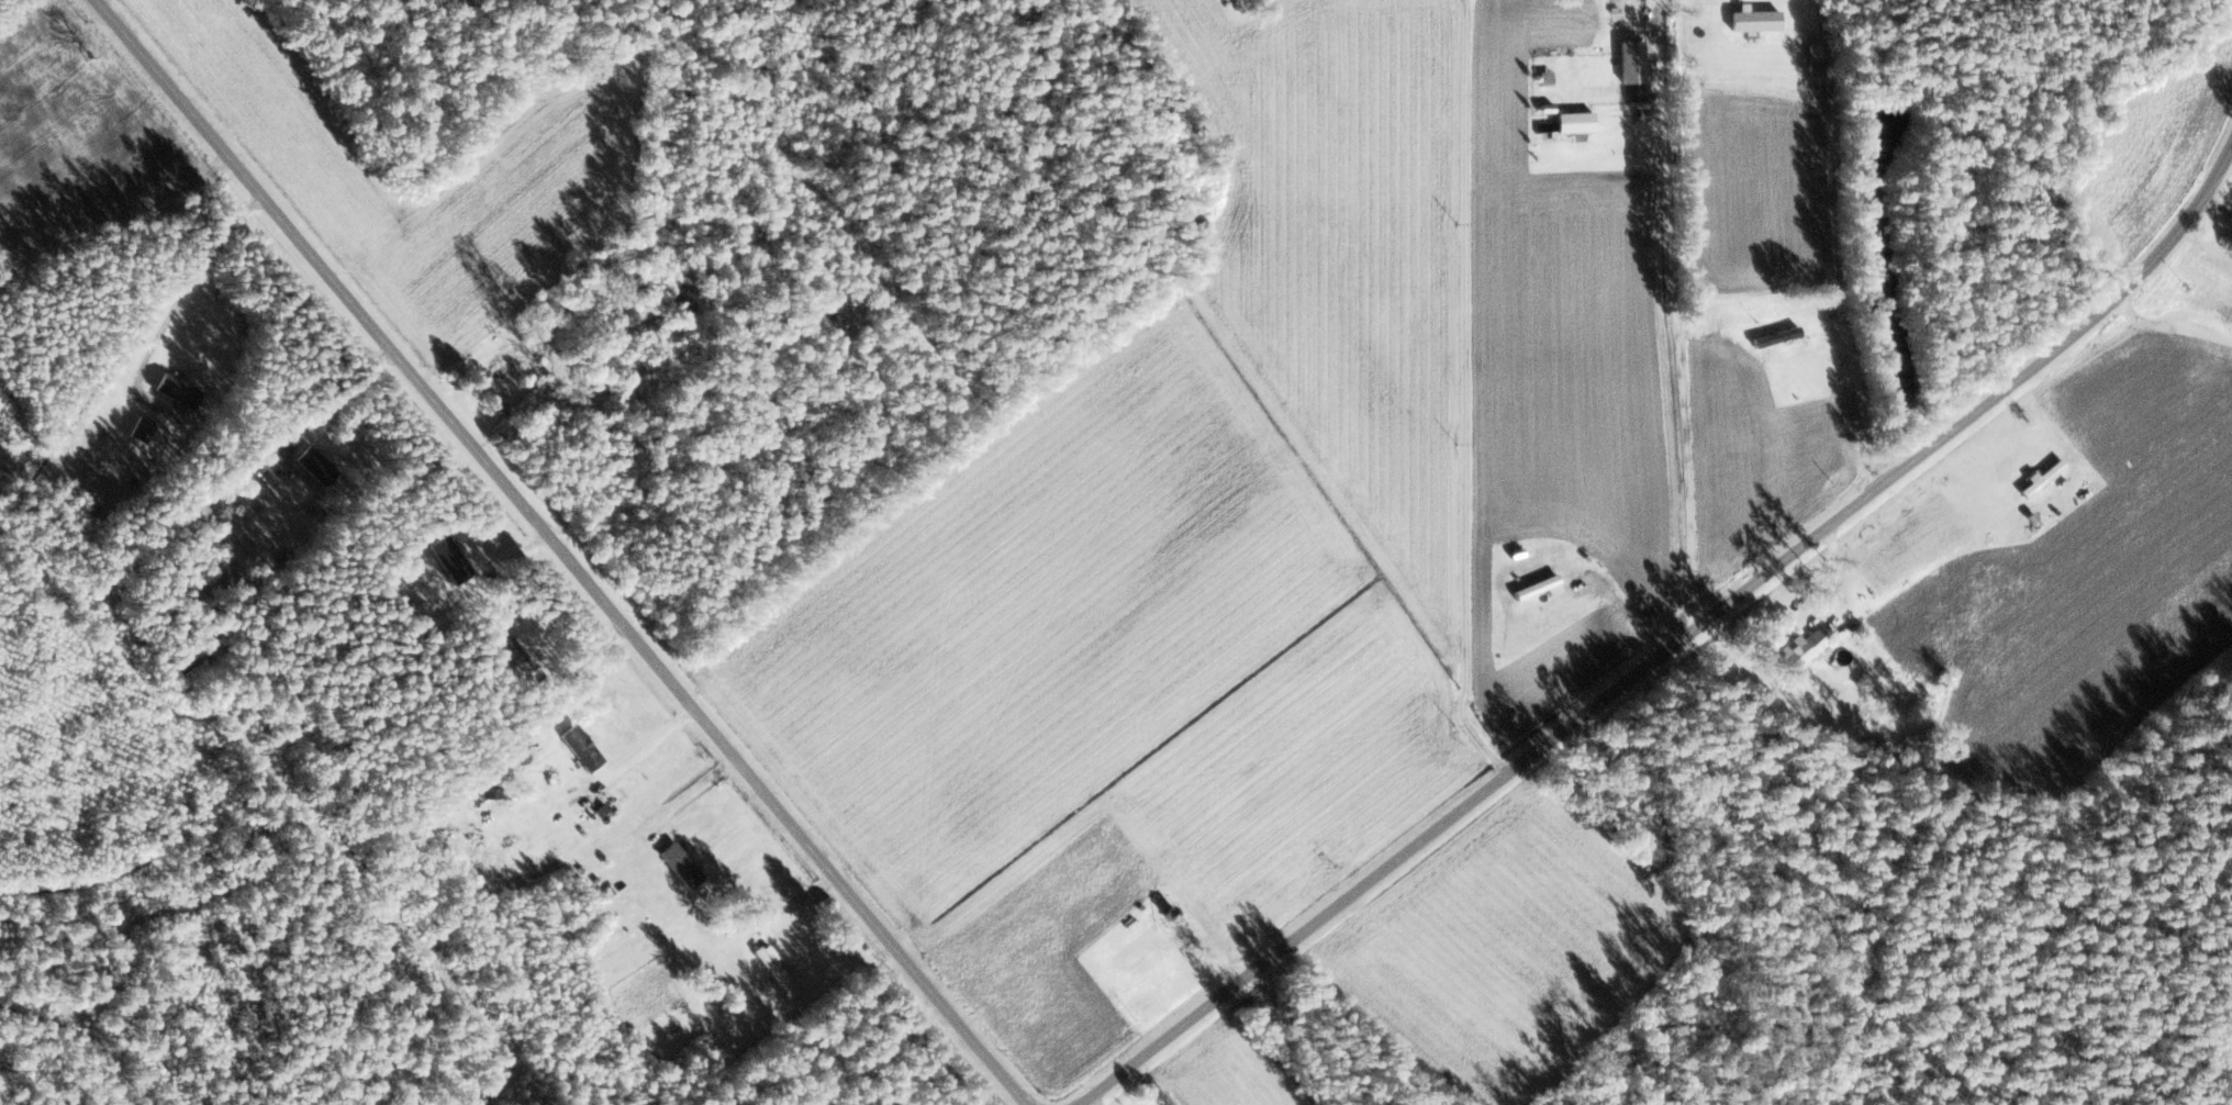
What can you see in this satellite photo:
building: (1575, 124)
building: (1737, 321)
building: (1784, 335)
building: (506, 364)
building: (177, 391)
building: (142, 431)
building: (315, 466)
building: (2033, 492)
road: (562, 552)
building: (445, 561)
road: (1675, 643)
building: (1804, 649)
building: (582, 747)
building: (495, 792)
building: (687, 862)
building: (772, 964)

